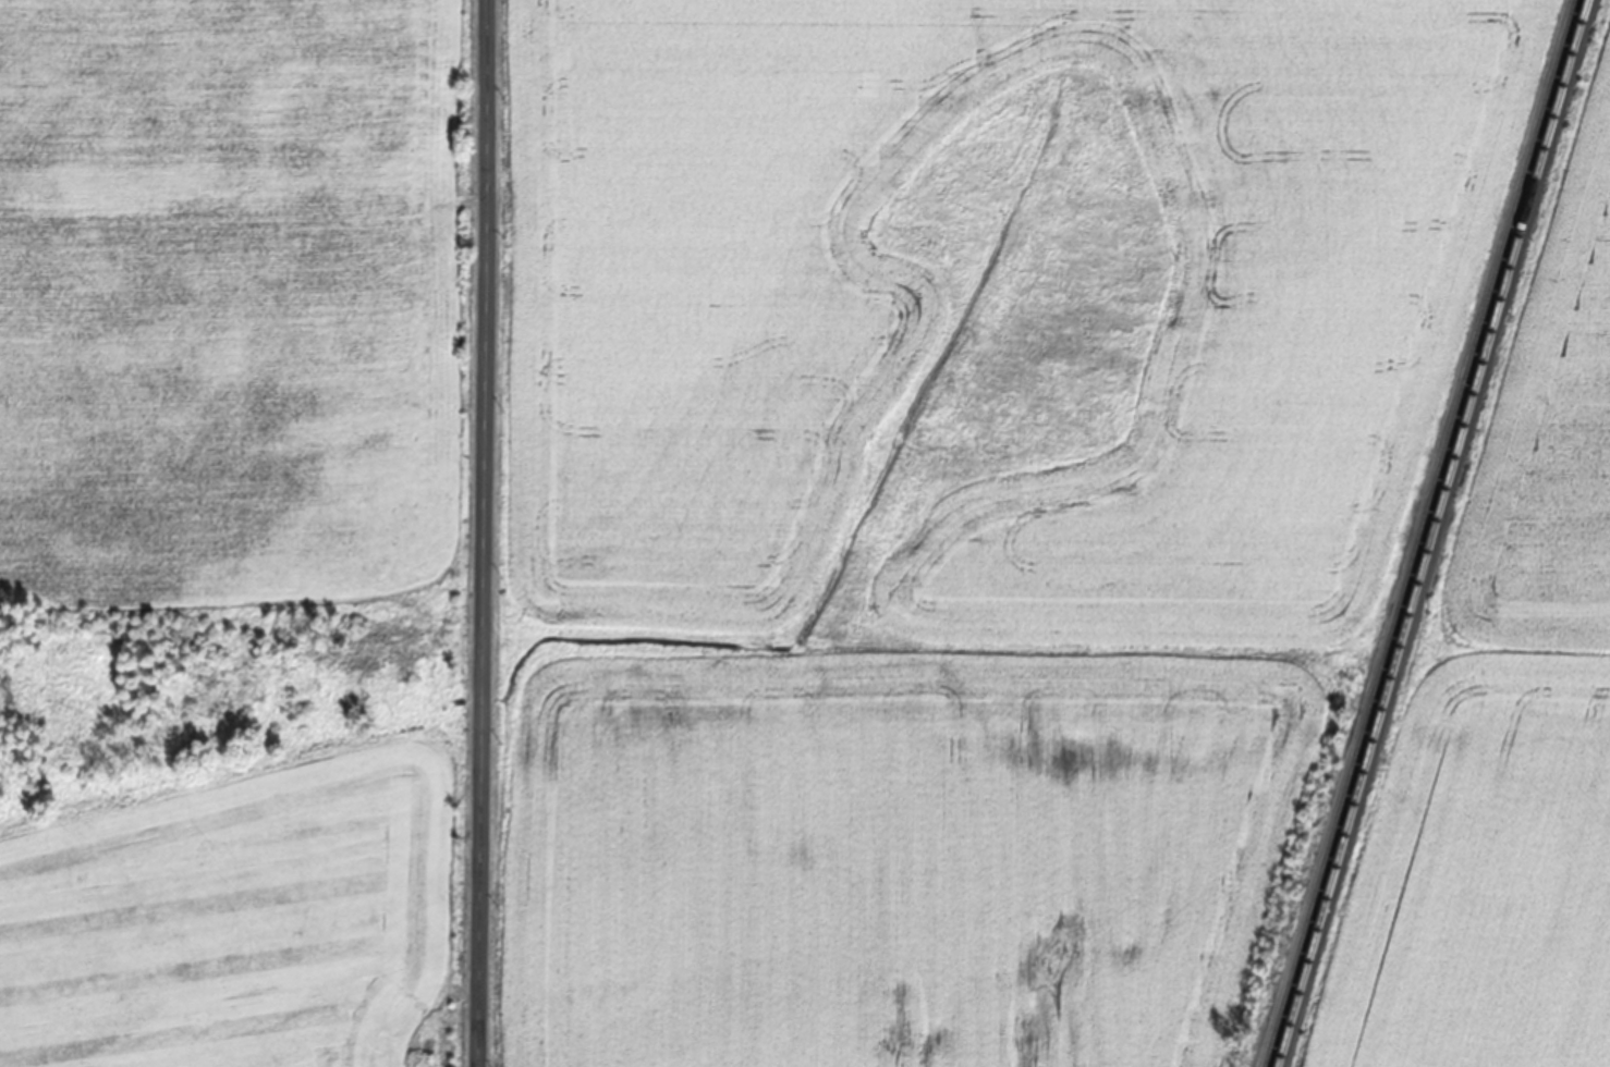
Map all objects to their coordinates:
railway: (1419, 532)
road: (481, 533)
railway: (1432, 533)

